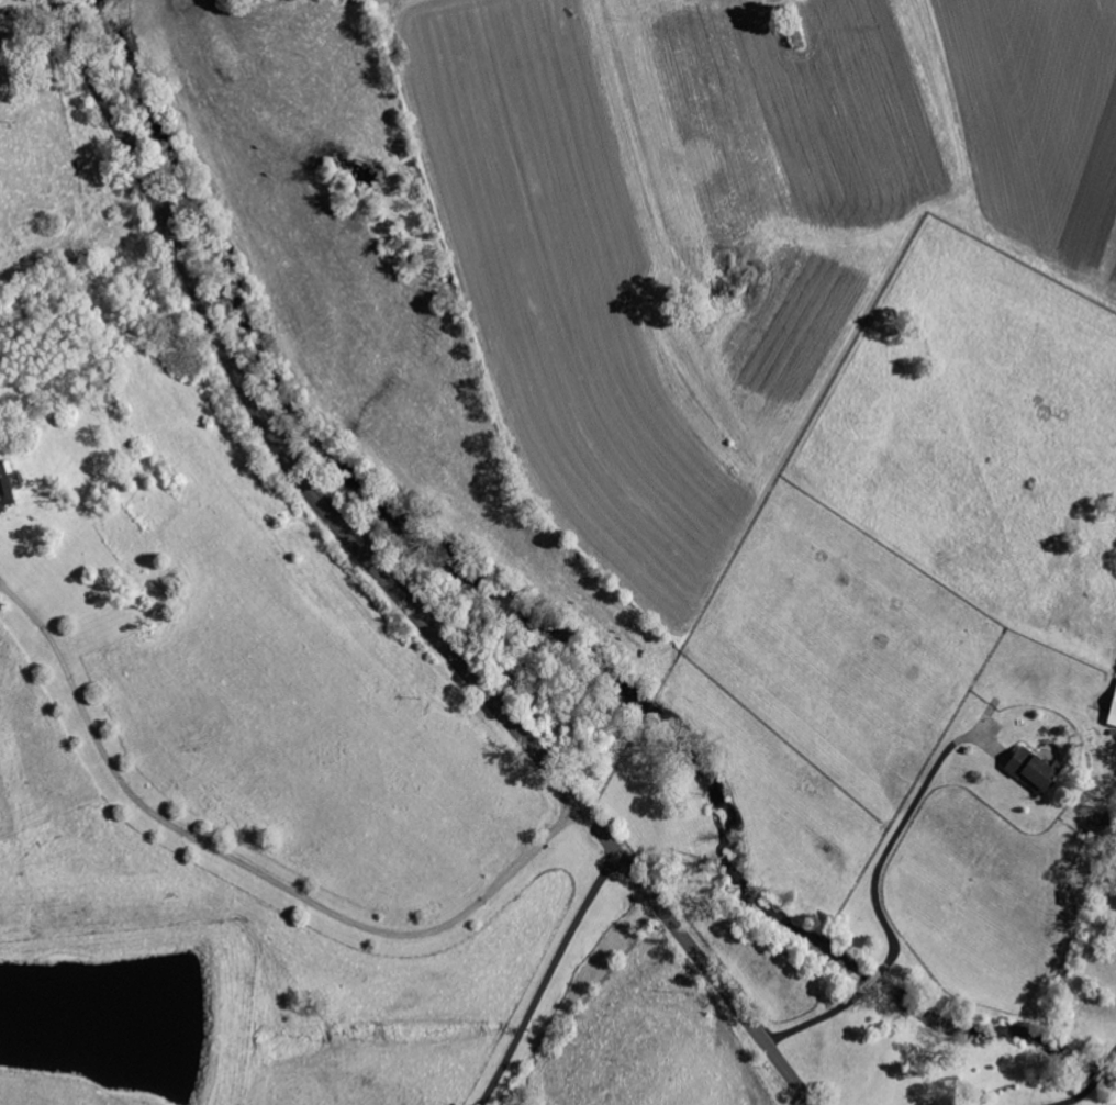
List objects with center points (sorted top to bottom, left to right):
road: (386, 582)
building: (1112, 710)
building: (1030, 770)
road: (894, 839)
road: (248, 870)
building: (1115, 885)
road: (546, 979)
road: (872, 982)
road: (812, 1022)
road: (1093, 1084)

